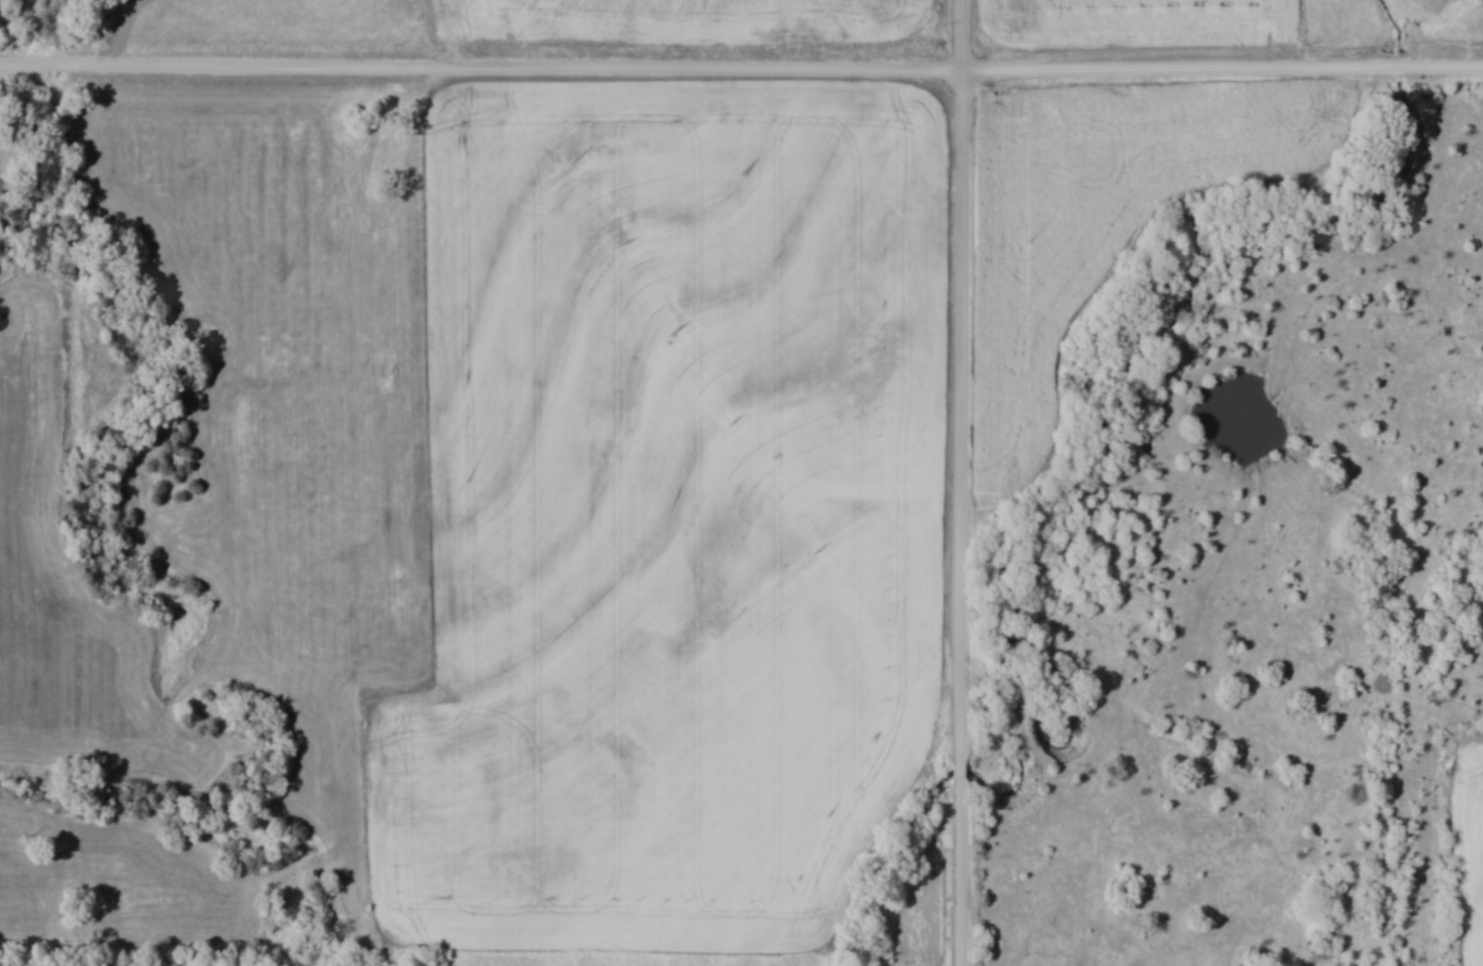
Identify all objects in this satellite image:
road: (741, 71)
road: (962, 483)

